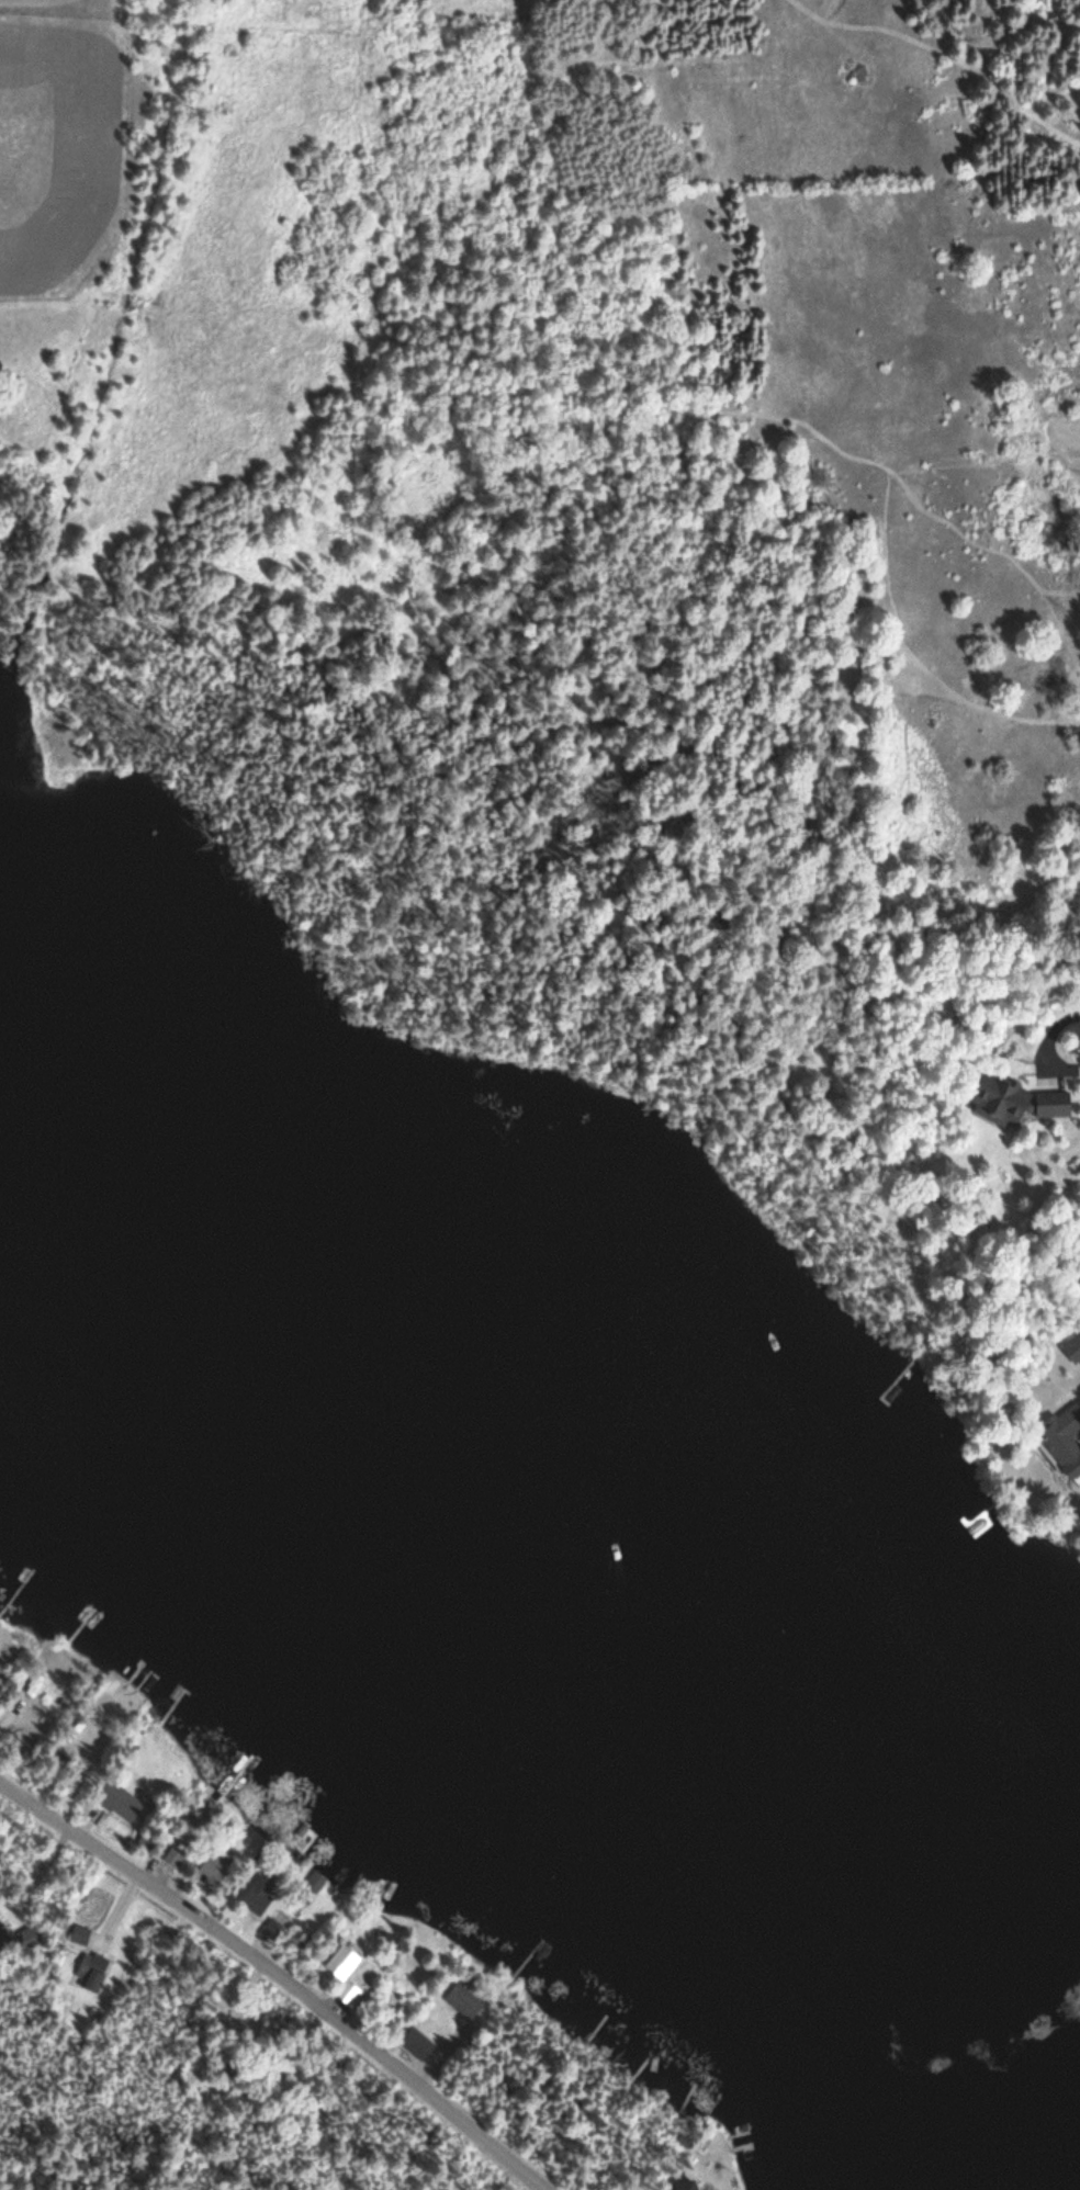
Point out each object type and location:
building: (1015, 1102)
building: (1073, 1348)
building: (1064, 1437)
building: (120, 1802)
building: (175, 1856)
building: (213, 1871)
building: (258, 1896)
building: (272, 1931)
building: (78, 1935)
building: (3, 1942)
building: (92, 1972)
road: (277, 1972)
building: (344, 1974)
building: (464, 2001)

